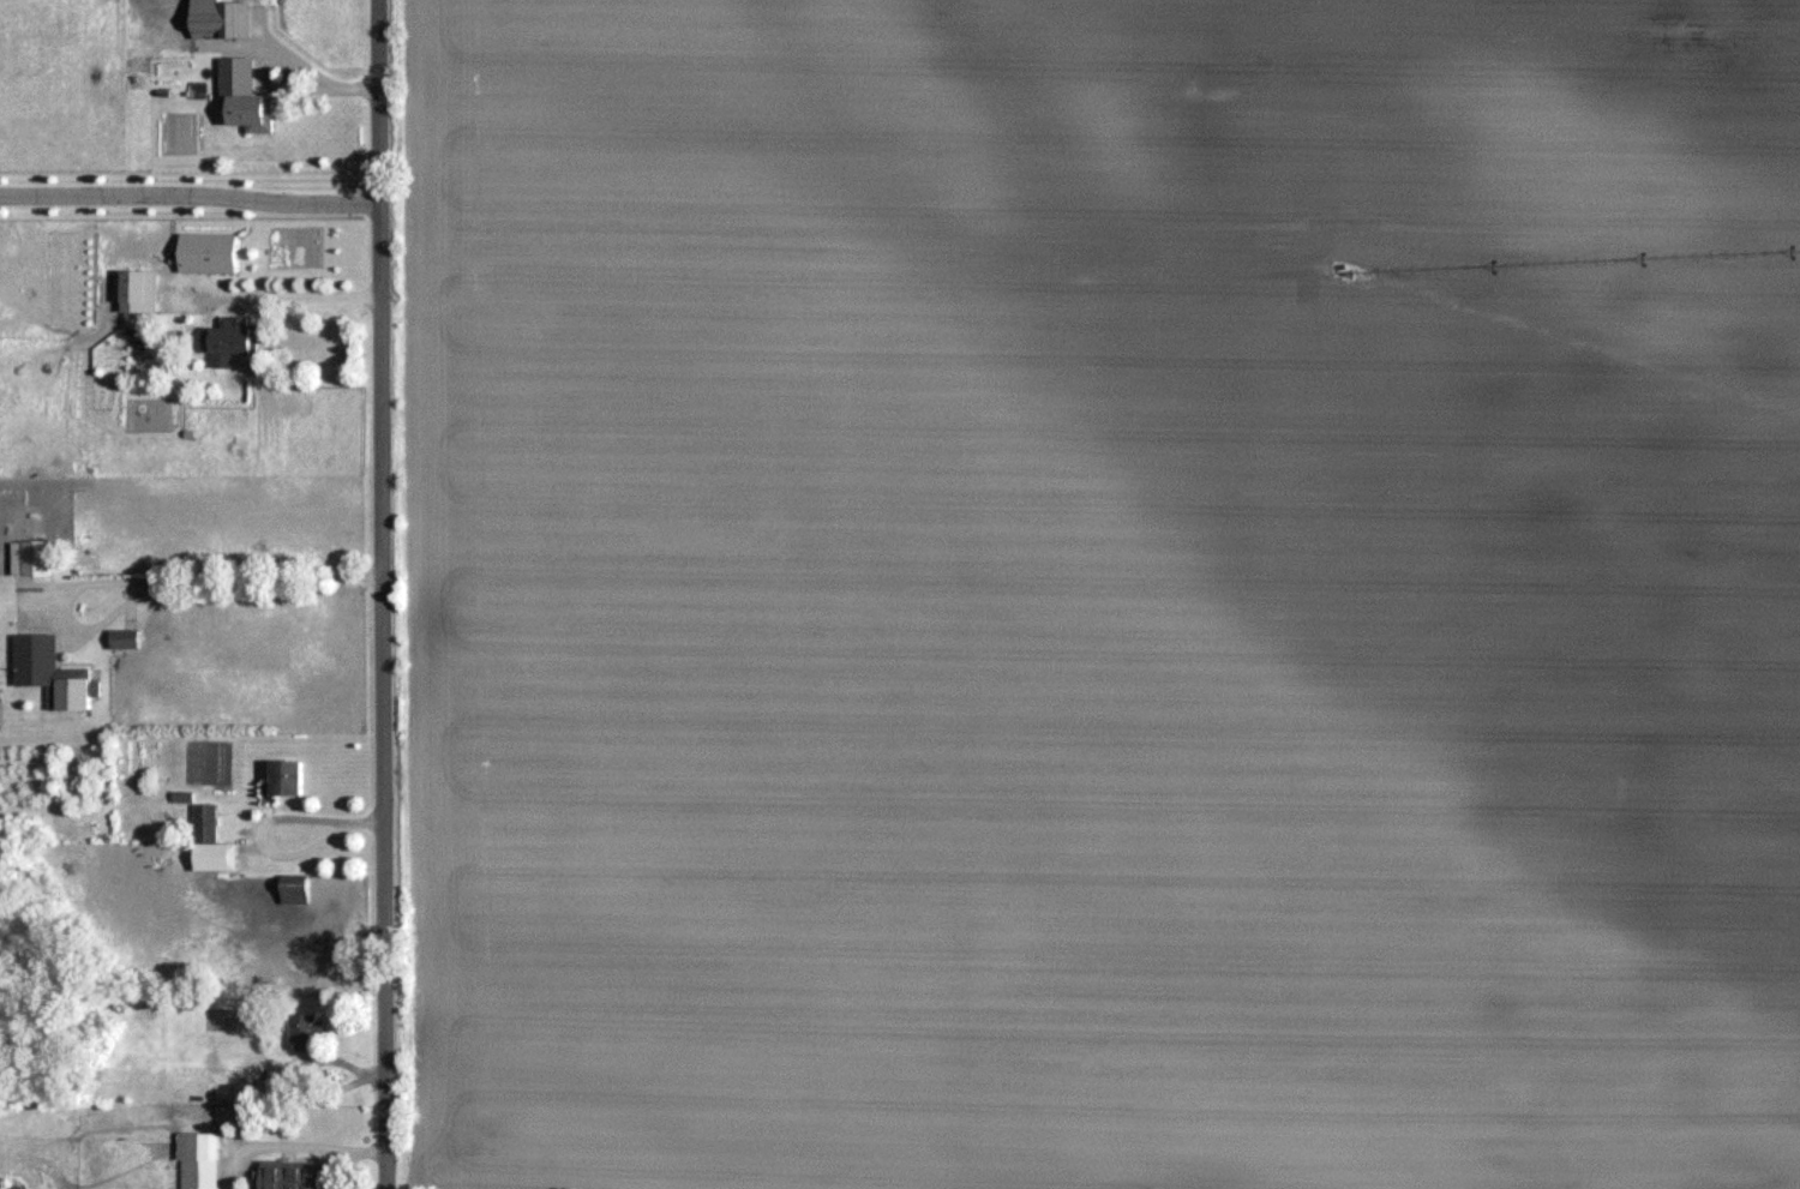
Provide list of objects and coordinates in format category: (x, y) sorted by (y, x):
building: (221, 18)
road: (266, 74)
building: (244, 95)
road: (190, 198)
building: (208, 251)
building: (137, 289)
road: (286, 289)
building: (226, 341)
building: (37, 556)
road: (156, 578)
crop: (1105, 593)
road: (382, 594)
building: (125, 637)
building: (71, 686)
building: (288, 775)
building: (205, 821)
road: (281, 835)
building: (295, 888)
building: (304, 1029)
building: (198, 1159)
building: (289, 1173)

